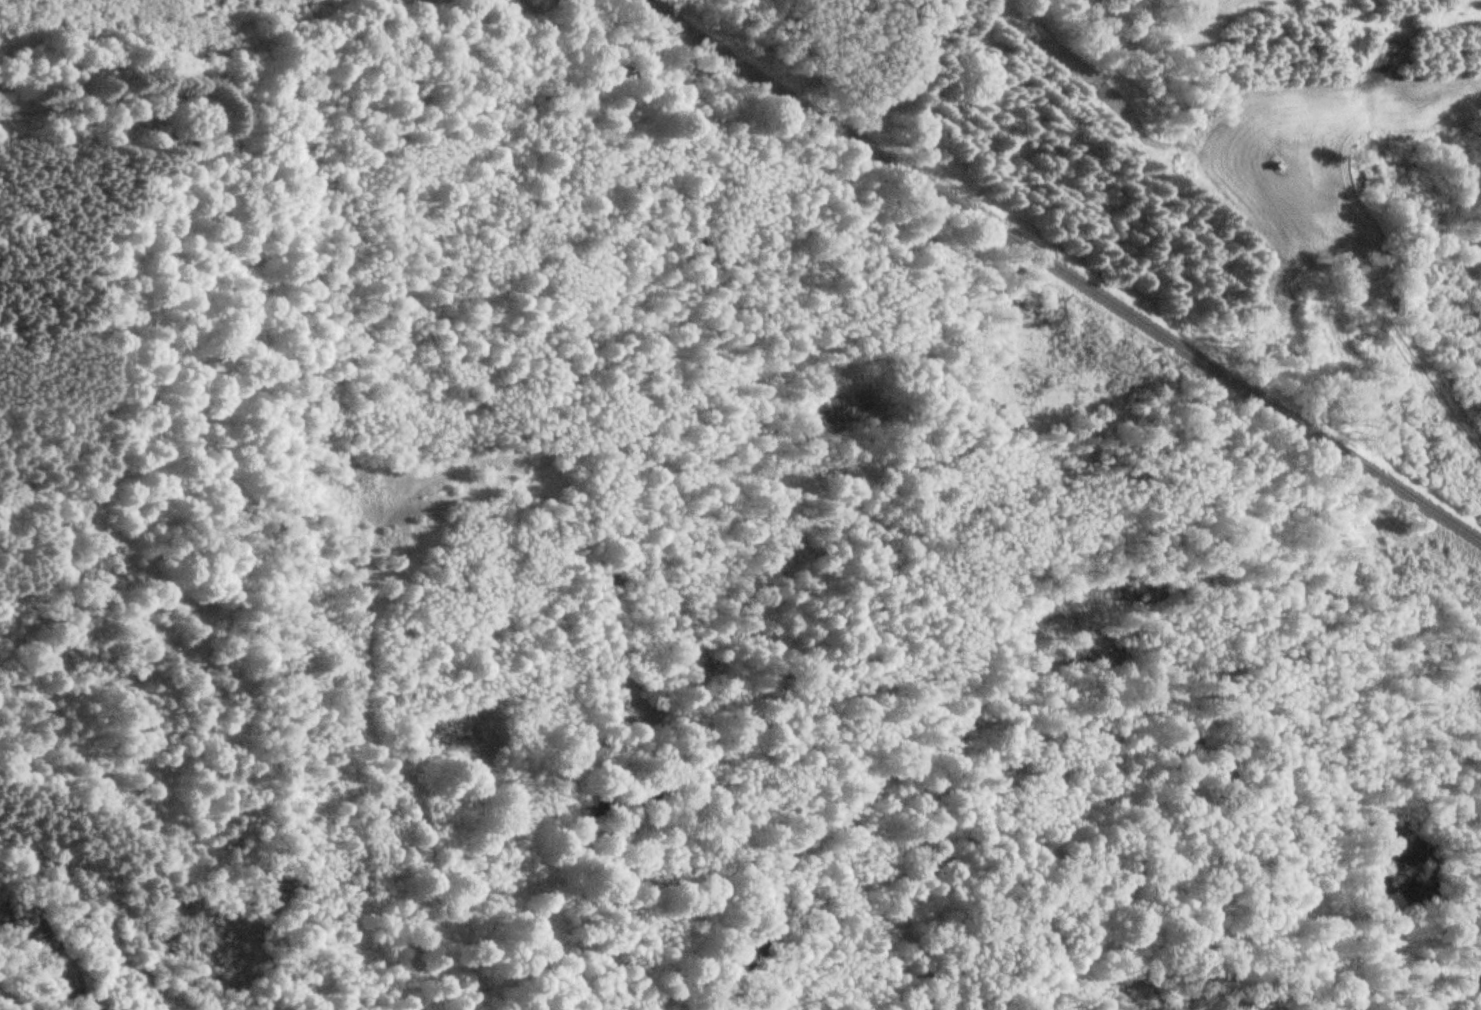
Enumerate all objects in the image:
railway: (1063, 269)

